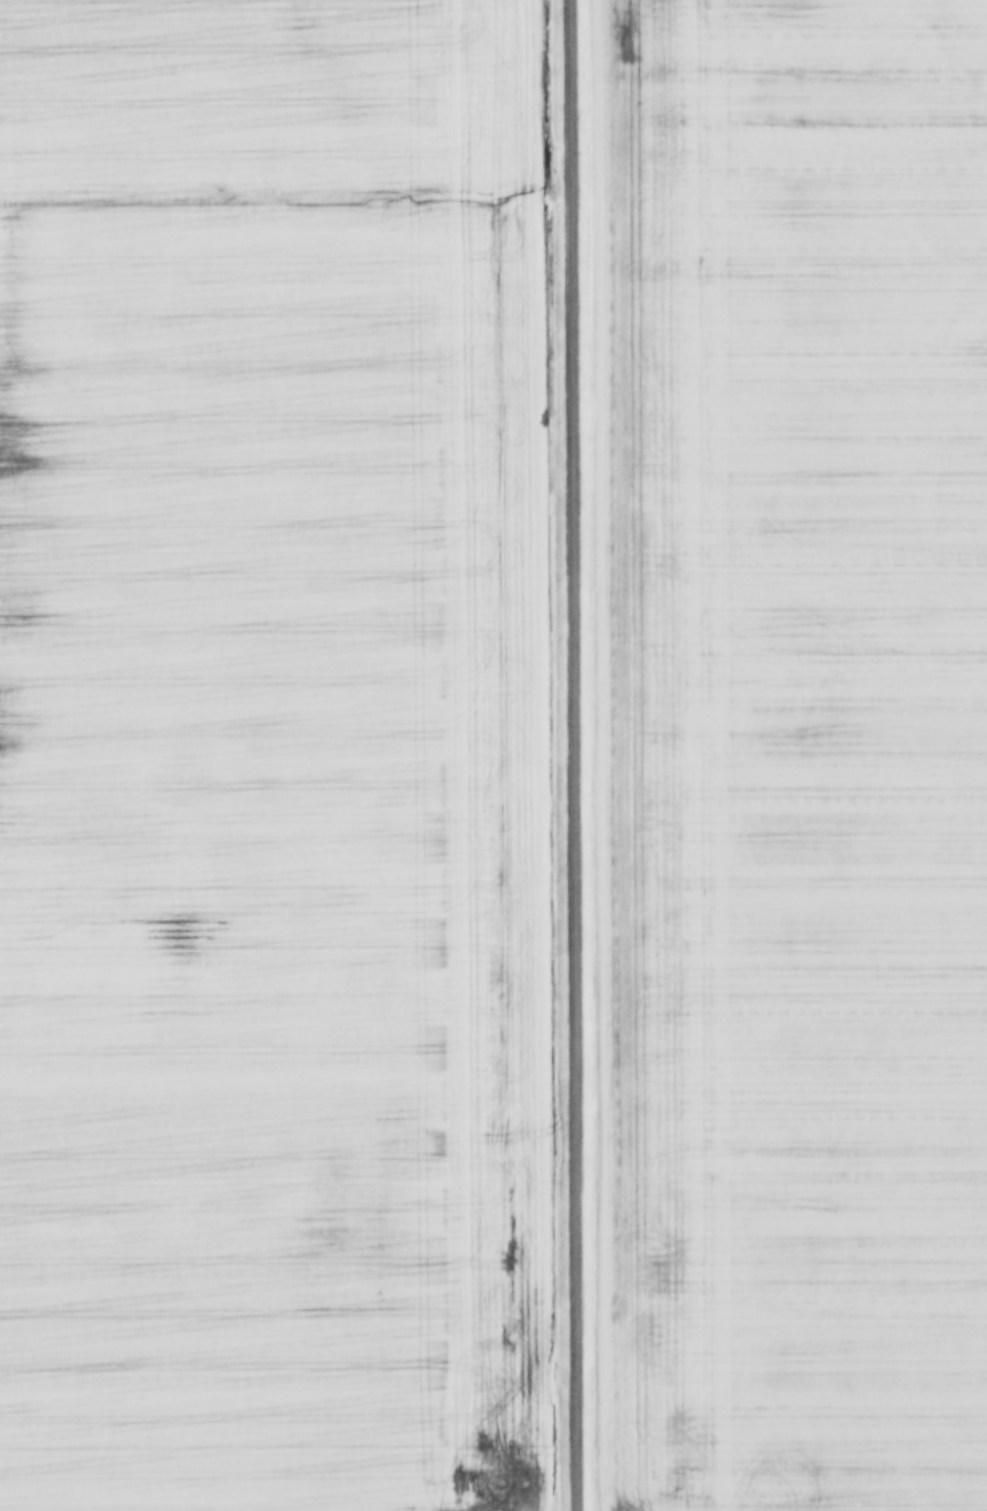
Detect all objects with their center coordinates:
road: (573, 755)

